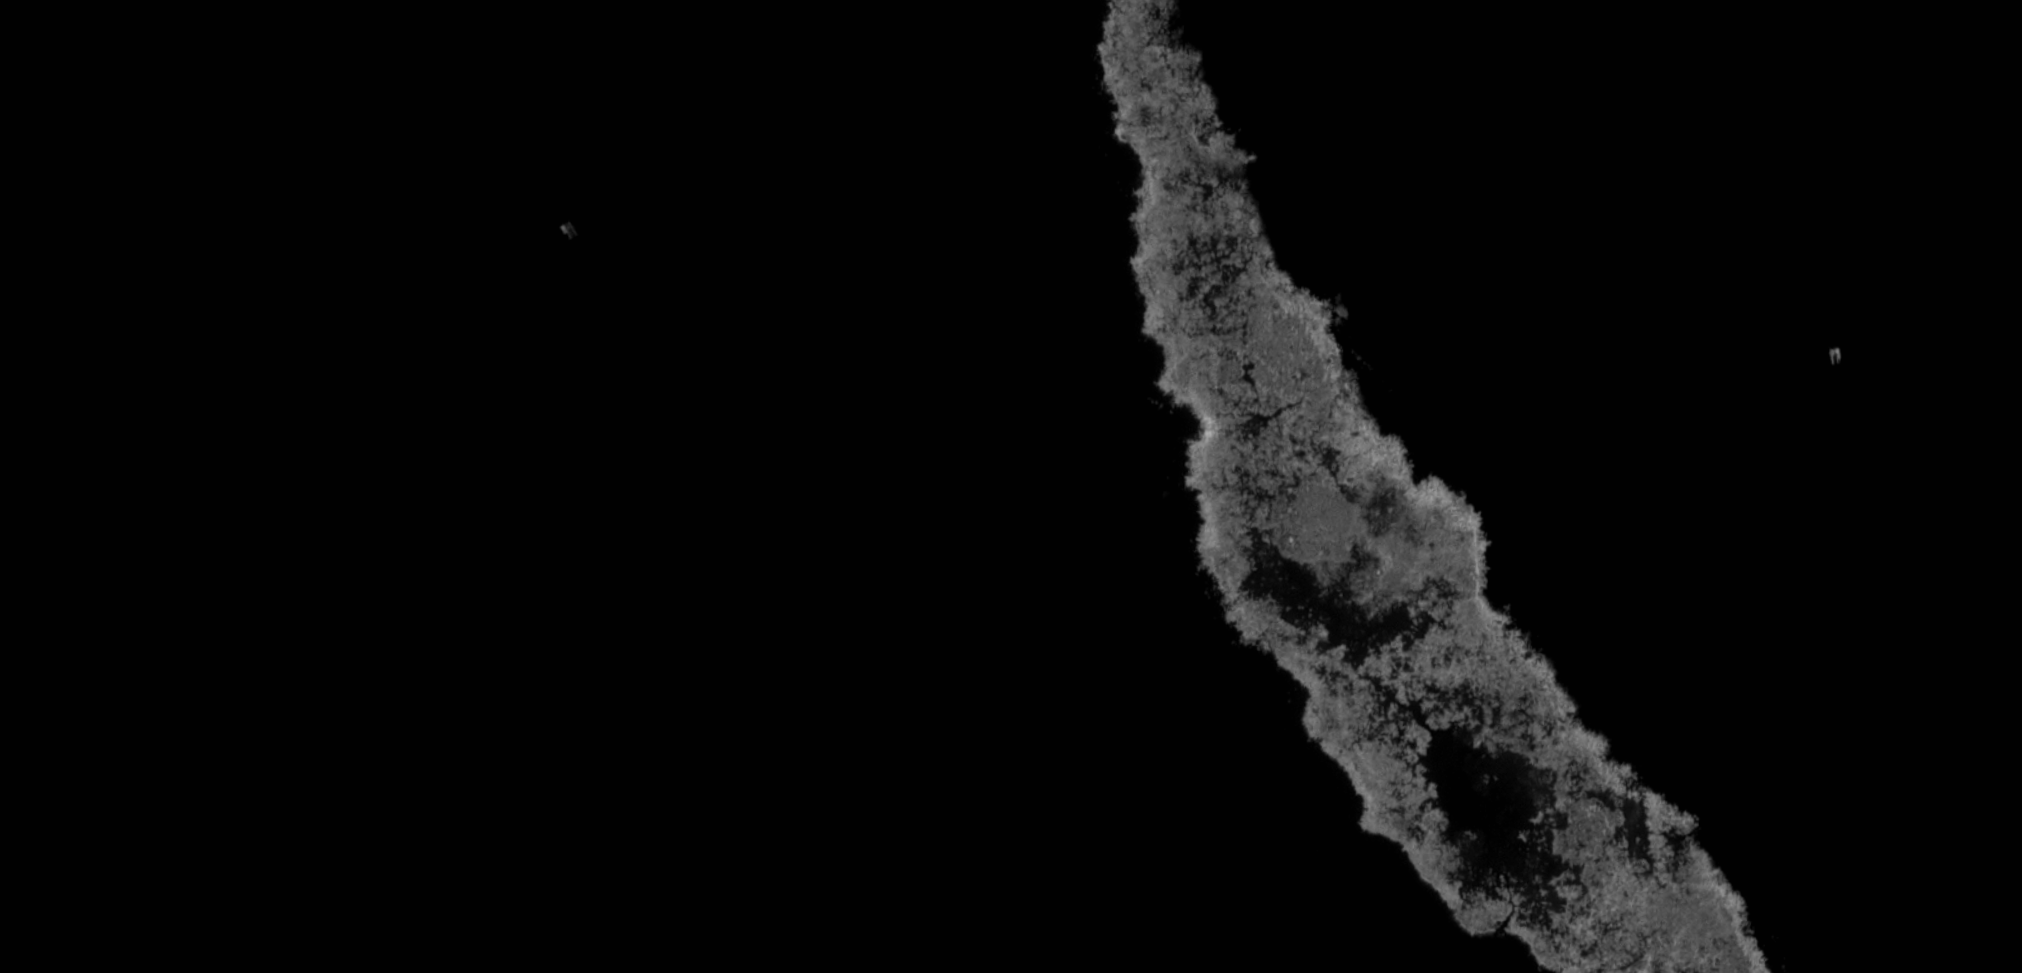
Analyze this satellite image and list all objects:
river: (2000, 64)

